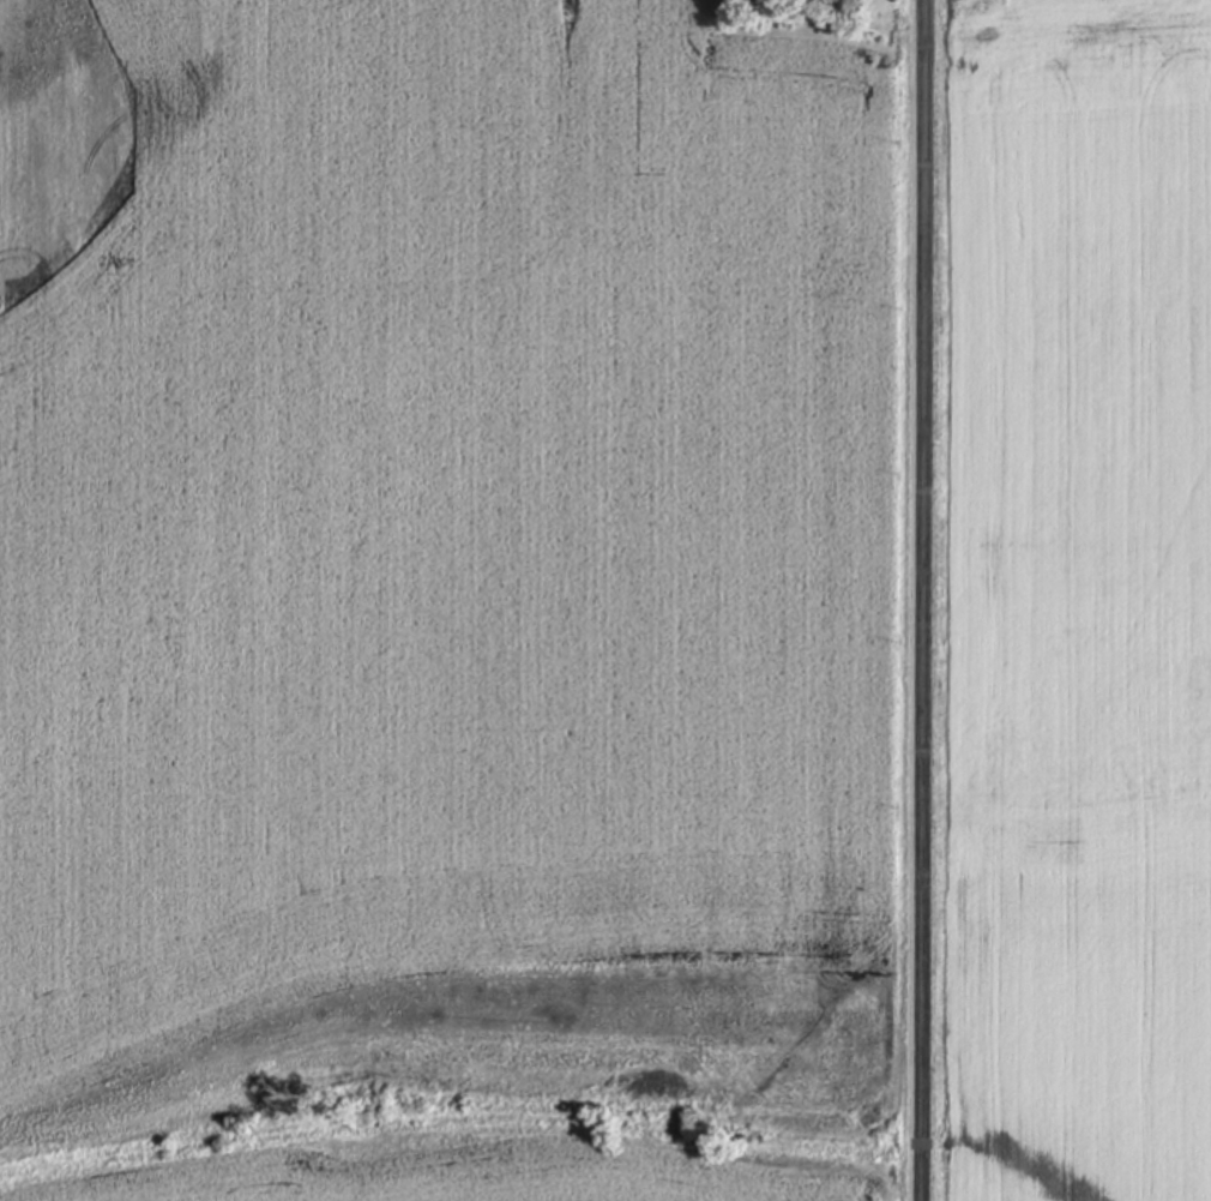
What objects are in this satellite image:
road: (921, 600)

